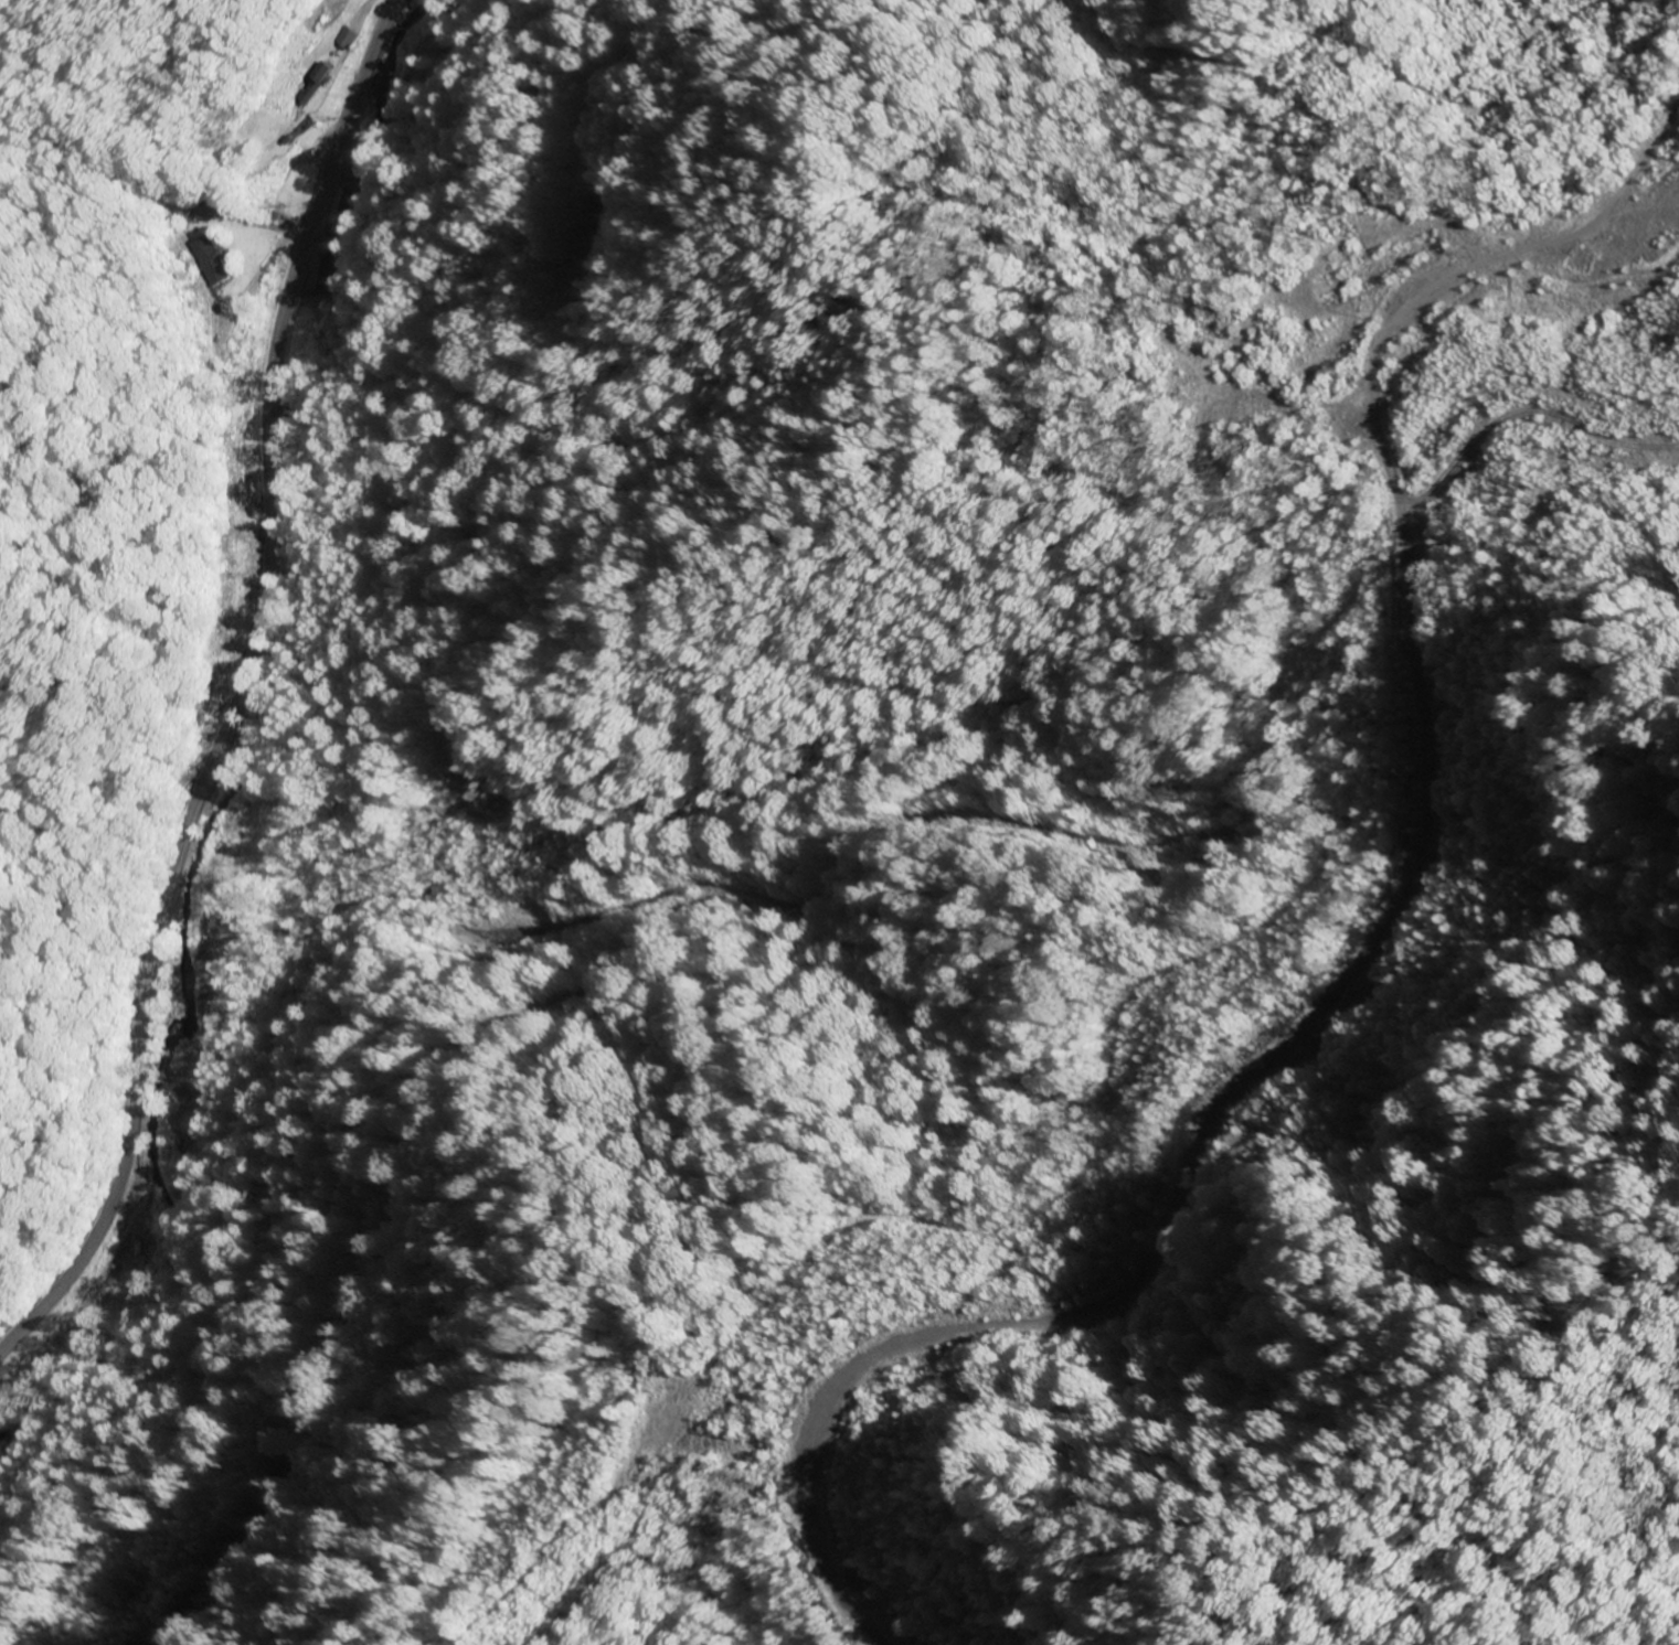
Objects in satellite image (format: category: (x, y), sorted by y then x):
building: (314, 84)
building: (203, 209)
building: (211, 260)
building: (322, 270)
road: (238, 690)

